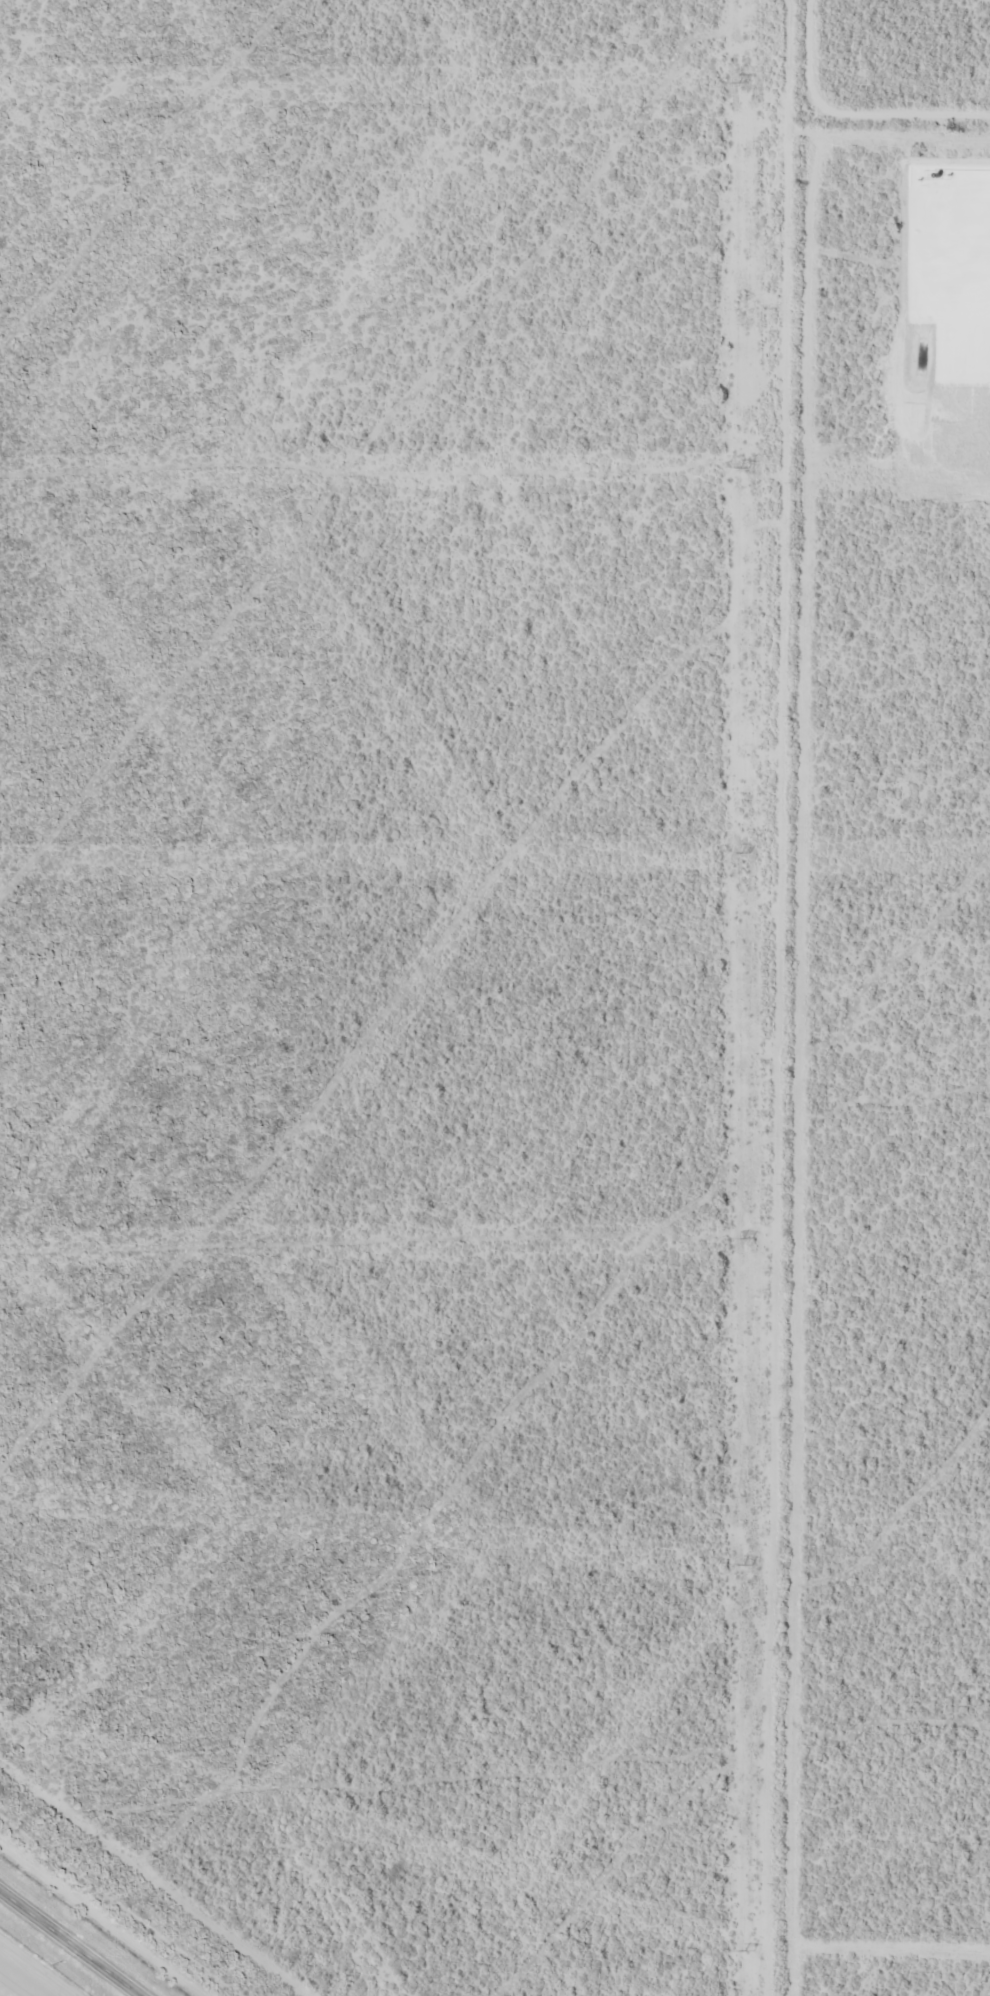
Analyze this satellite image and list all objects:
power tower: (754, 81)
power tower: (754, 467)
power tower: (746, 853)
power tower: (752, 1238)
power tower: (750, 1564)
road: (75, 1939)
power tower: (752, 1951)

